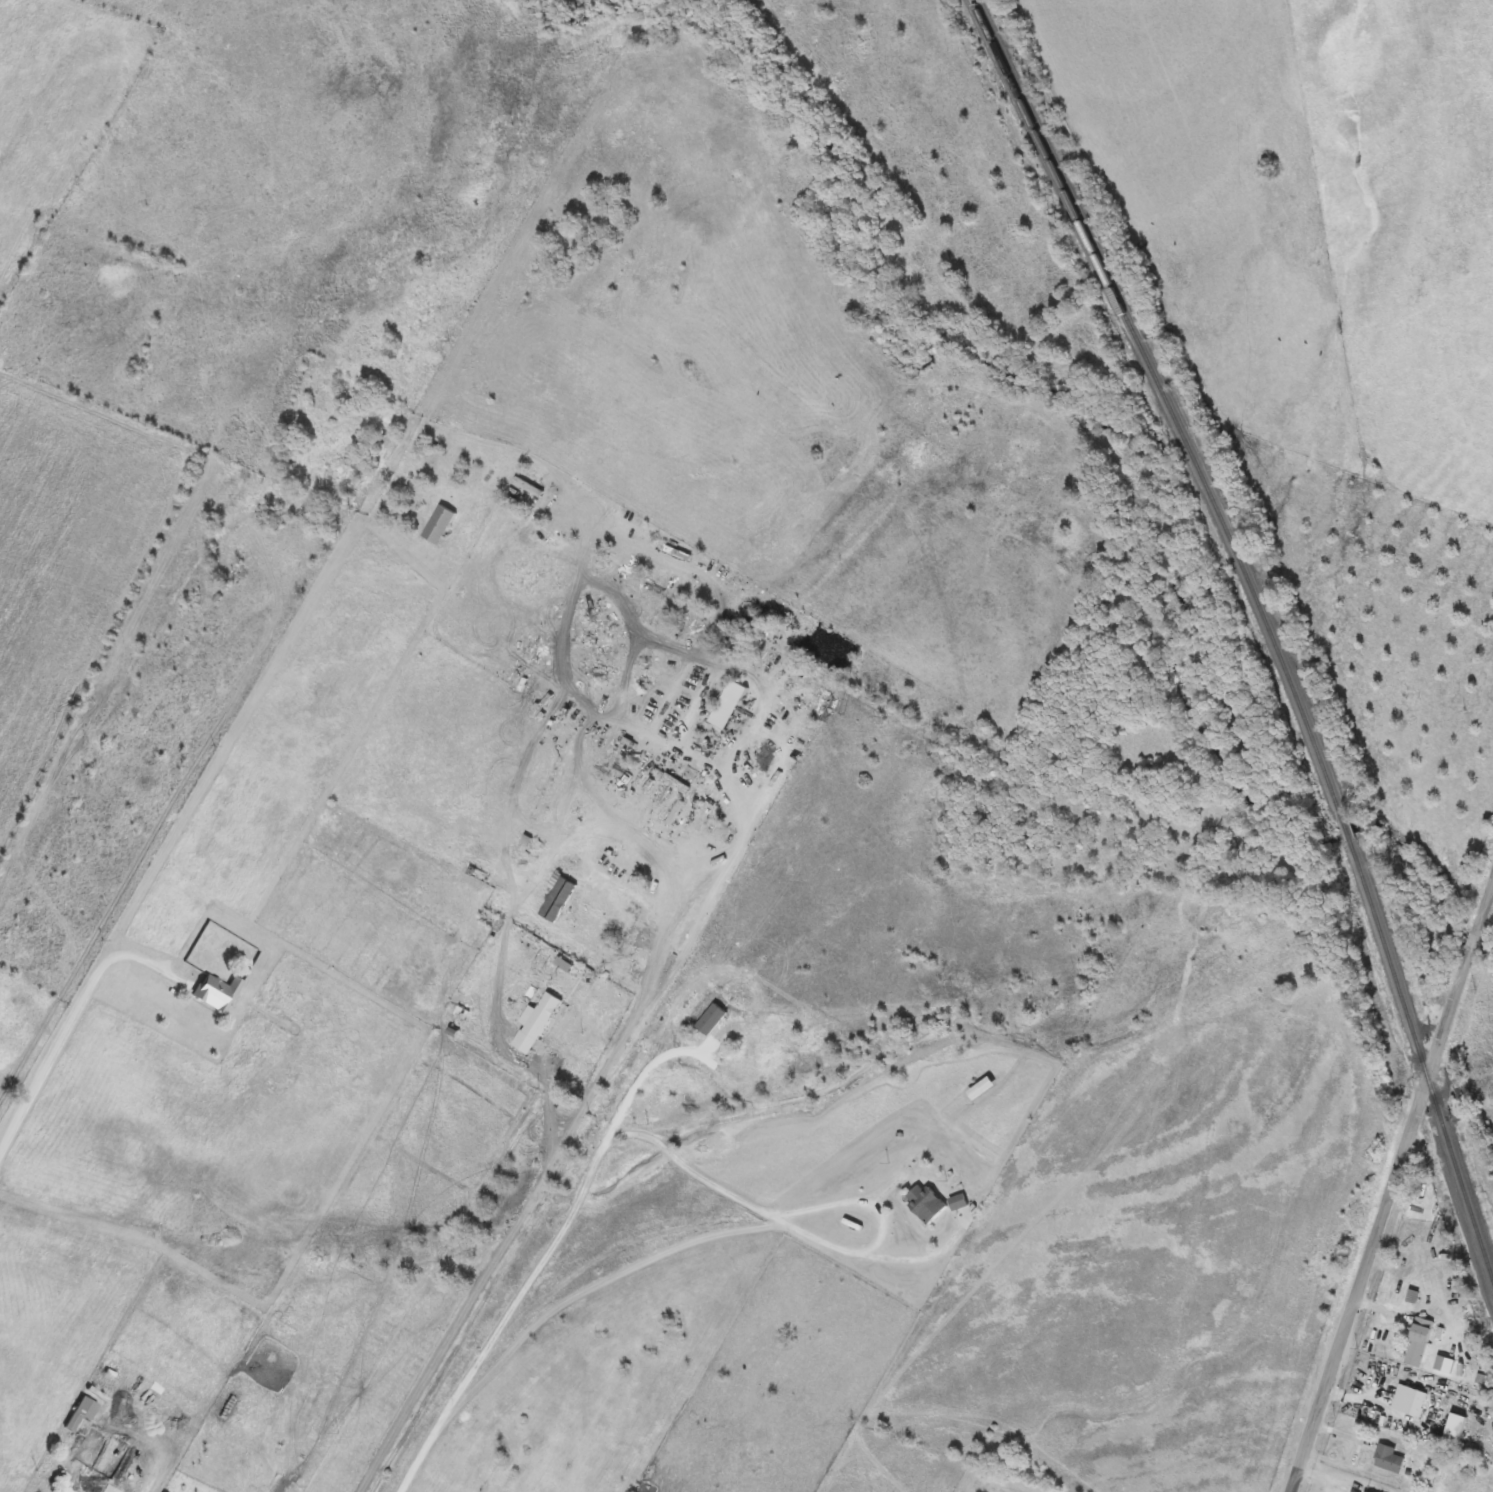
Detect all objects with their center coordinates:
building: (440, 525)
railway: (1269, 625)
building: (728, 705)
building: (217, 993)
building: (536, 1023)
road: (72, 1043)
road: (552, 1161)
road: (1389, 1187)
building: (925, 1203)
road: (879, 1227)
road: (555, 1308)
building: (1419, 1341)
building: (1410, 1400)
building: (87, 1408)
building: (1455, 1429)
building: (1389, 1458)
building: (112, 1488)
building: (1364, 1491)

